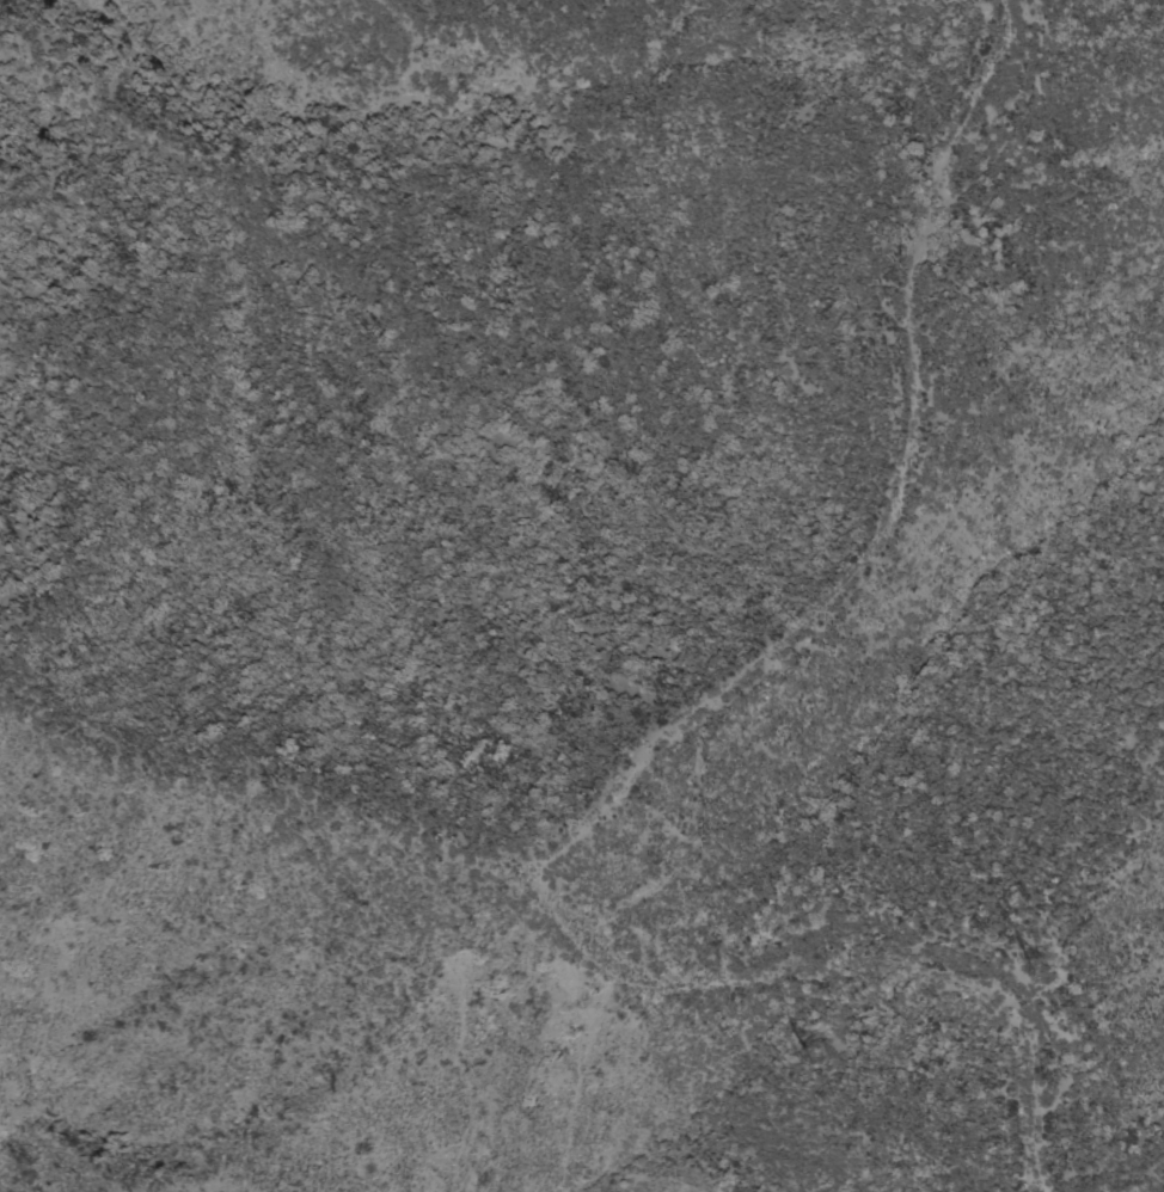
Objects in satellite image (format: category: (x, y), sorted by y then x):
power tower: (1064, 952)
power tower: (844, 1036)

